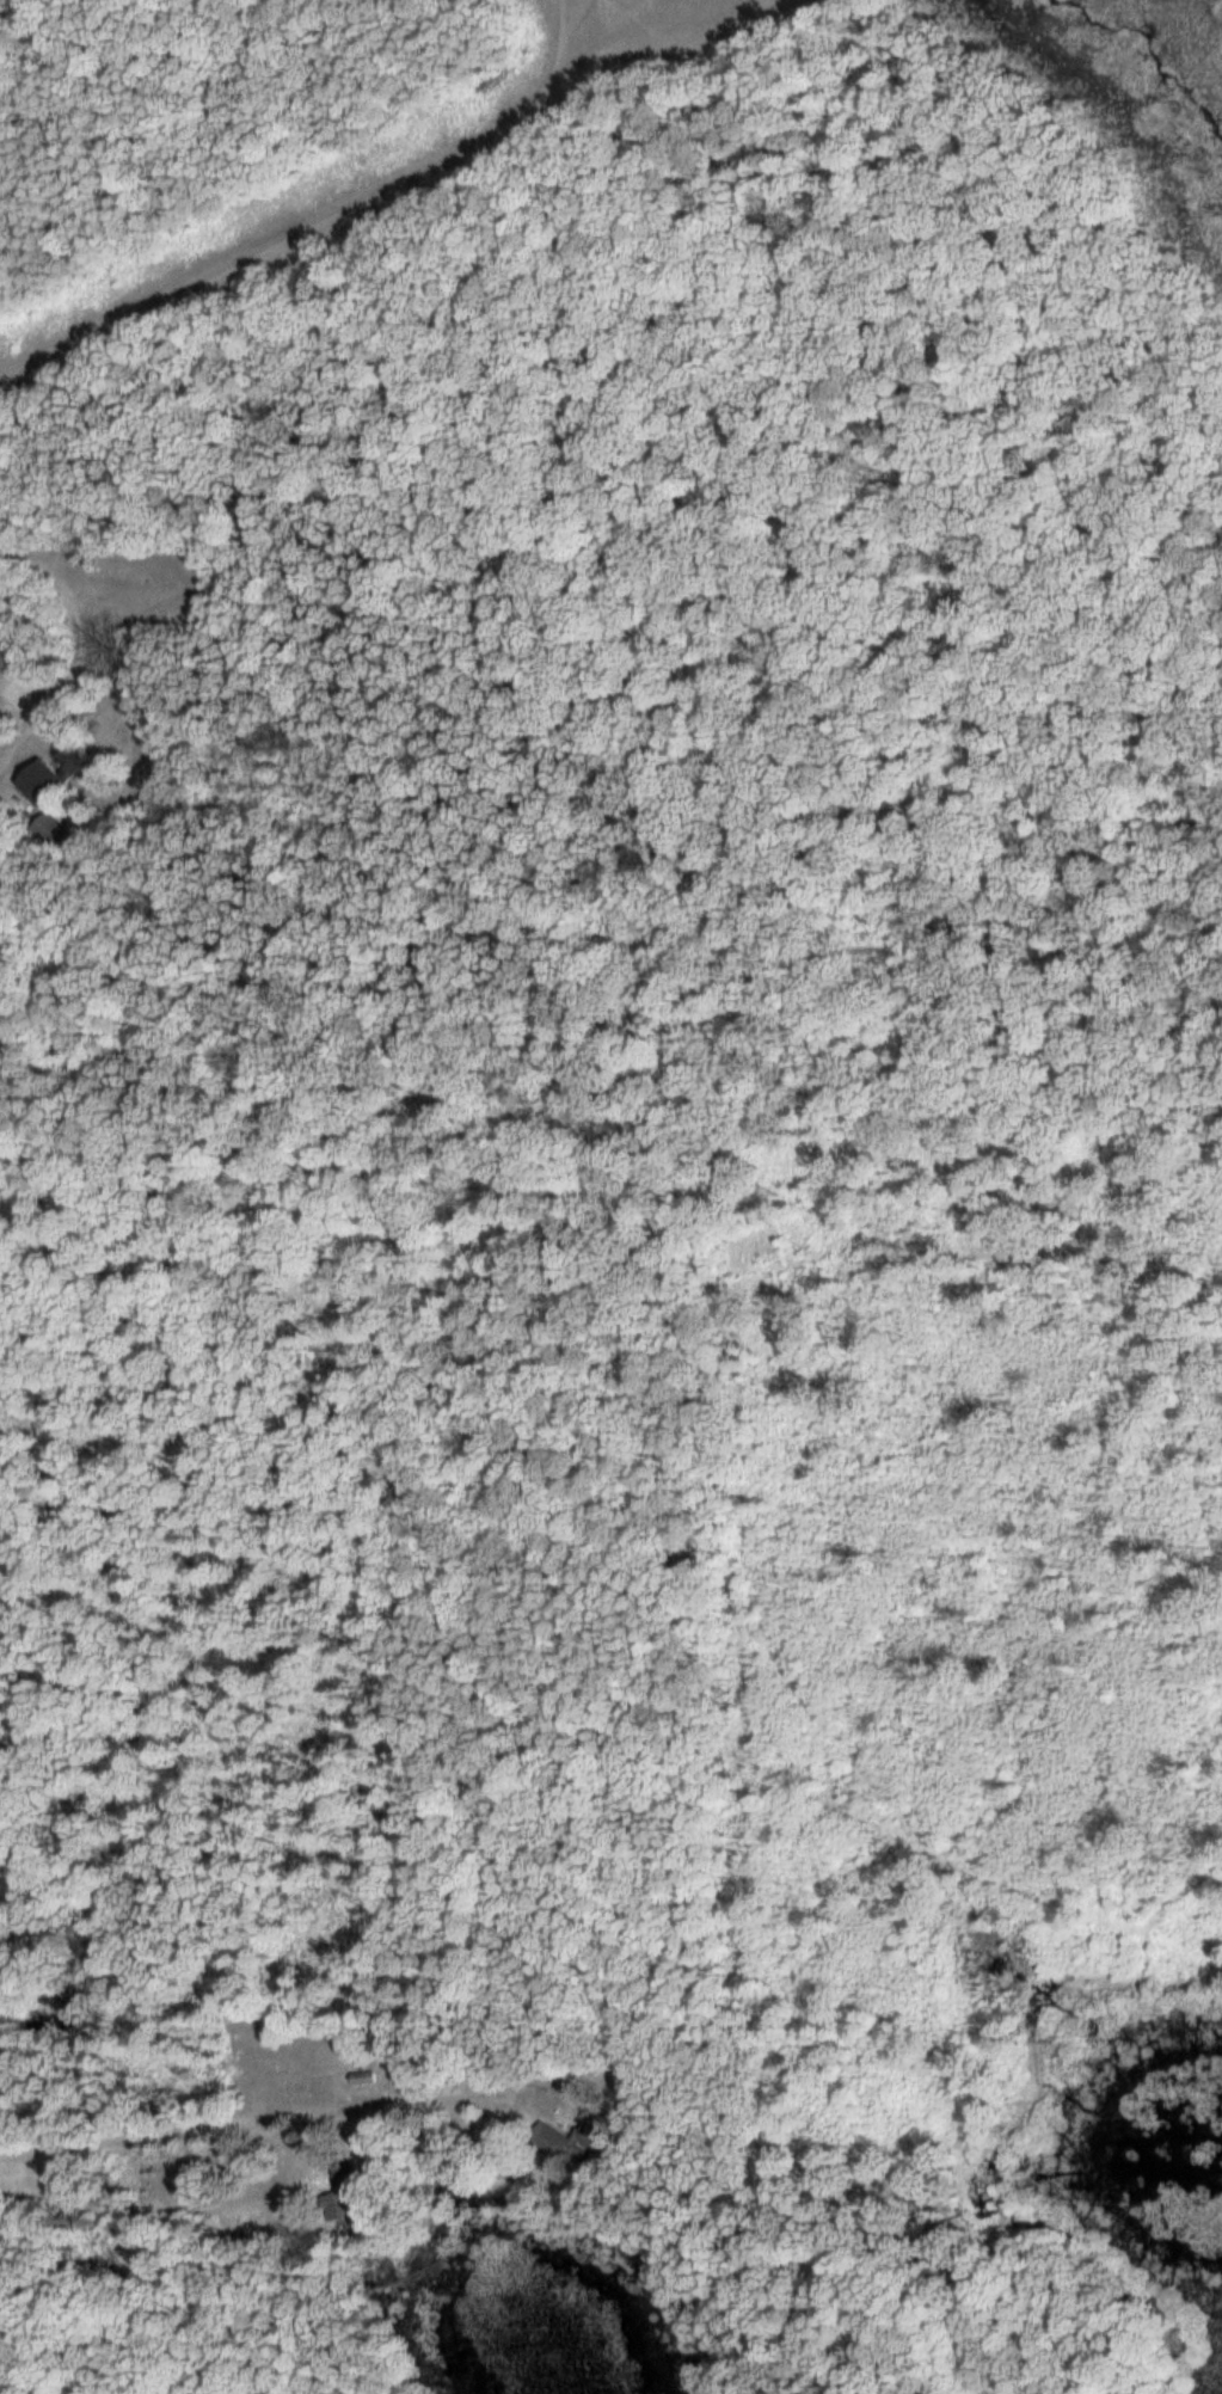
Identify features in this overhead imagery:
building: (50, 786)
building: (49, 829)
building: (361, 2073)
road: (244, 2117)
building: (544, 2137)
building: (339, 2173)
road: (192, 2208)

